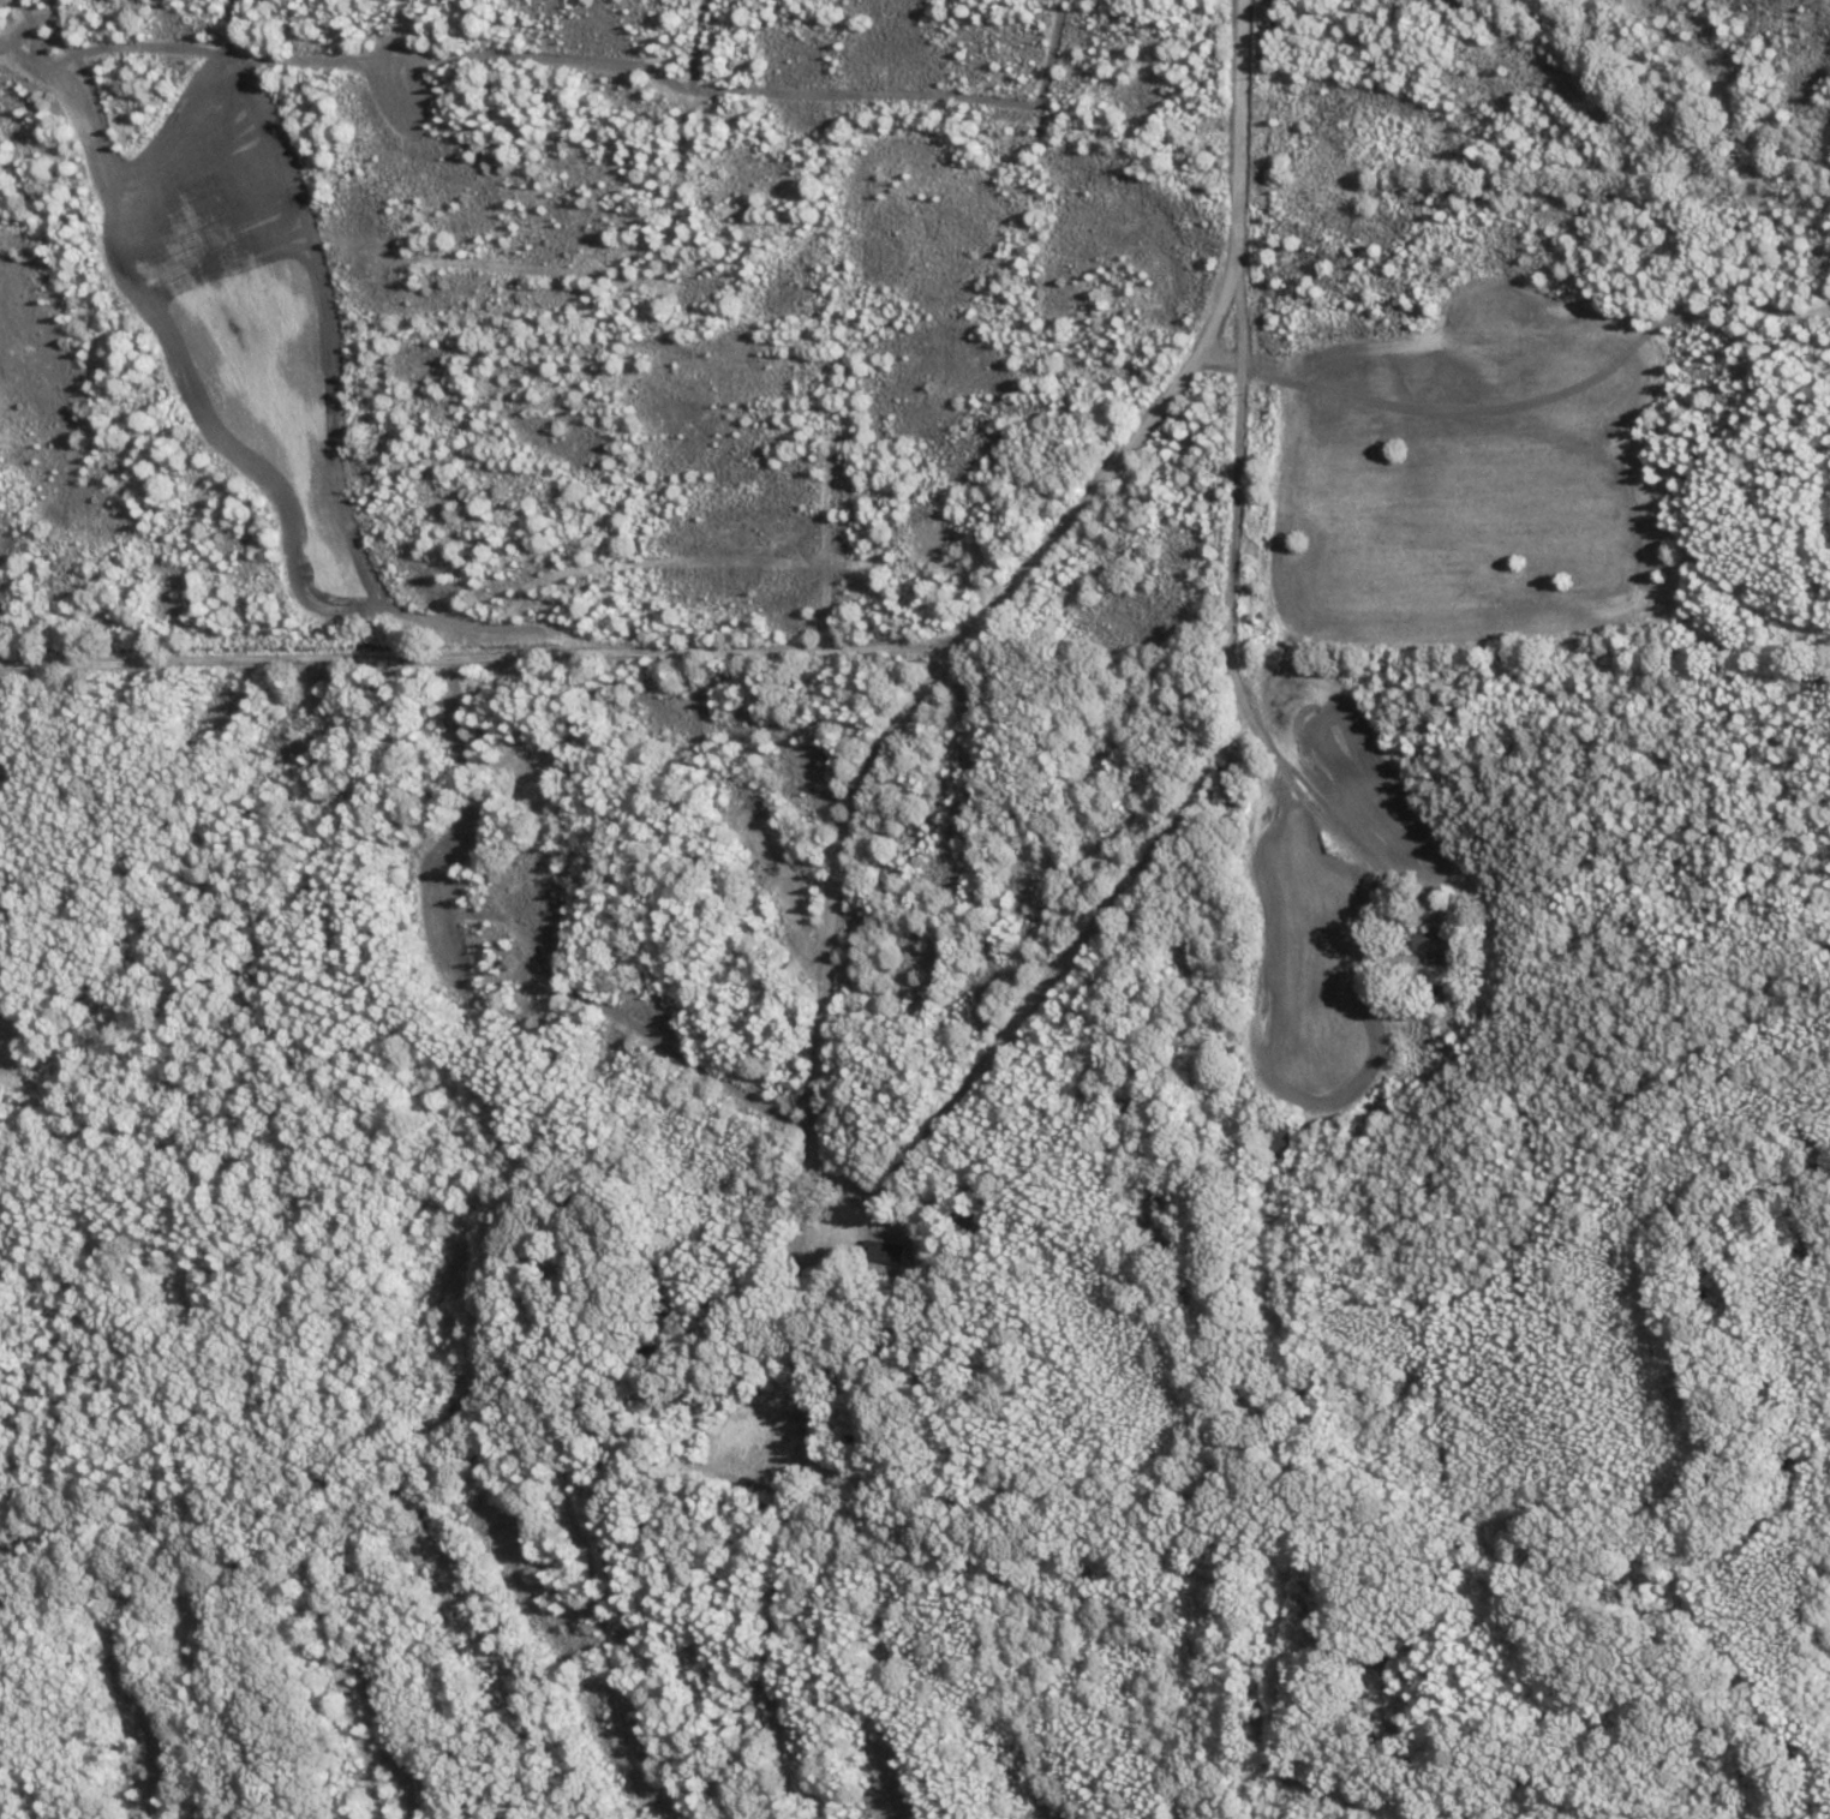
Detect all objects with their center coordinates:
road: (1228, 347)
road: (1239, 557)
road: (478, 640)
road: (921, 671)
building: (1437, 946)
building: (1278, 1143)
building: (886, 1252)

